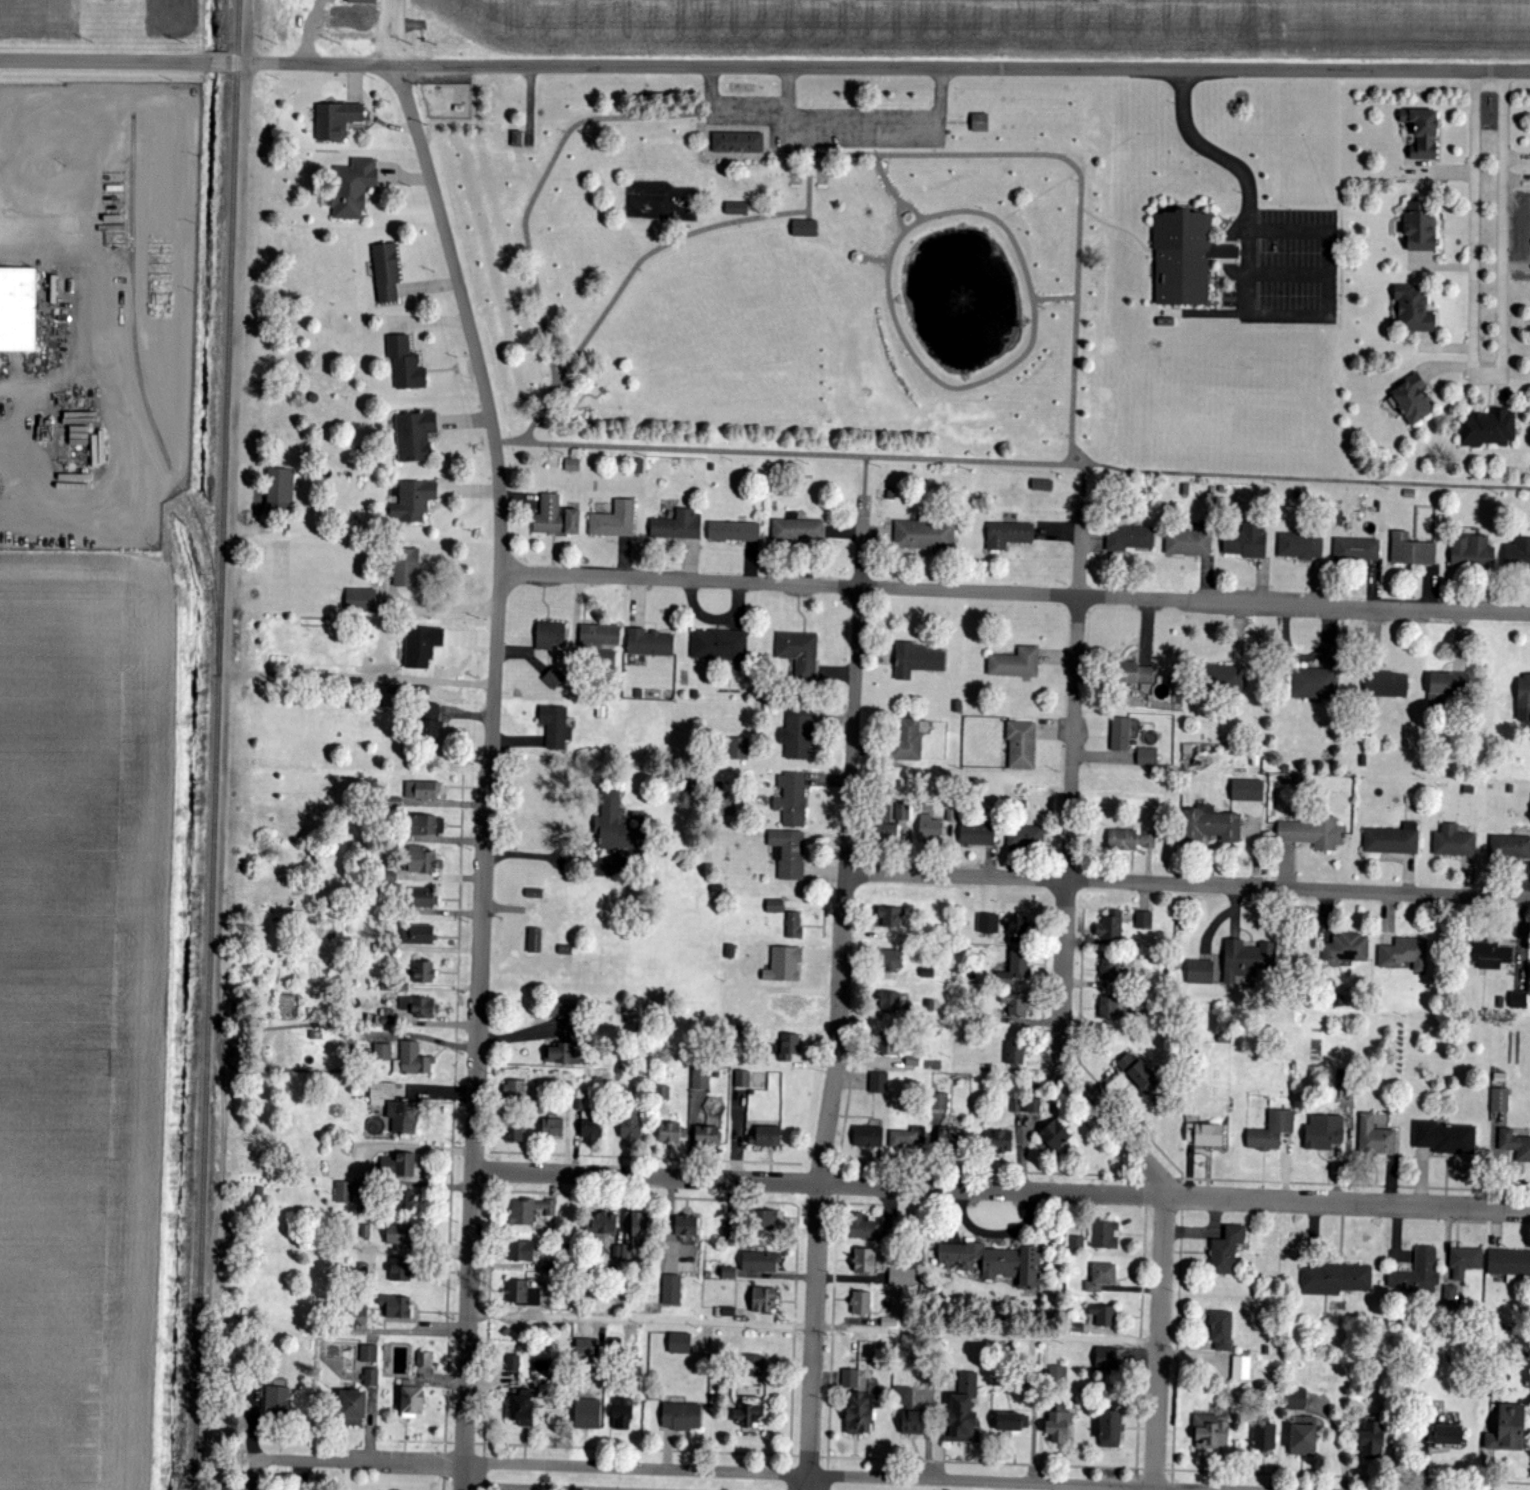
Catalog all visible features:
building: (362, 2)
railway: (278, 20)
crop: (874, 27)
crop: (1406, 29)
road: (394, 30)
road: (103, 57)
road: (219, 58)
road: (880, 65)
building: (336, 120)
building: (980, 123)
parking lot: (830, 125)
road: (836, 128)
building: (1422, 133)
building: (518, 139)
building: (737, 142)
road: (1048, 153)
building: (353, 188)
road: (540, 189)
road: (896, 196)
road: (911, 207)
building: (736, 208)
building: (804, 227)
building: (1420, 227)
road: (1118, 228)
road: (1313, 231)
building: (857, 257)
building: (1185, 257)
park: (784, 266)
parking lot: (1283, 266)
building: (386, 272)
road: (1289, 273)
building: (1414, 309)
building: (18, 310)
building: (1165, 322)
road: (594, 328)
road: (1073, 359)
building: (405, 365)
road: (1485, 371)
building: (1412, 400)
railway: (144, 401)
building: (1488, 429)
building: (414, 436)
road: (803, 452)
road: (1080, 453)
building: (572, 465)
road: (863, 474)
road: (1313, 476)
building: (1042, 485)
road: (1080, 486)
building: (280, 491)
building: (414, 501)
building: (556, 518)
road: (231, 520)
building: (615, 521)
building: (678, 526)
building: (798, 531)
building: (734, 532)
building: (925, 535)
building: (1008, 535)
building: (1130, 538)
building: (1246, 541)
building: (1188, 543)
building: (1300, 547)
building: (1356, 550)
building: (1411, 551)
building: (1472, 552)
building: (1518, 554)
building: (406, 569)
road: (1012, 592)
building: (361, 600)
building: (549, 635)
building: (600, 643)
building: (649, 643)
building: (422, 646)
building: (719, 646)
building: (799, 653)
building: (916, 660)
building: (1015, 664)
road: (248, 674)
road: (286, 676)
building: (1136, 676)
building: (1224, 678)
building: (554, 679)
road: (396, 680)
building: (1313, 684)
building: (1449, 684)
building: (1386, 685)
building: (1523, 699)
building: (430, 724)
building: (555, 727)
building: (1120, 734)
building: (797, 735)
building: (908, 739)
railway: (217, 744)
building: (1022, 745)
building: (738, 748)
building: (1147, 757)
road: (488, 769)
building: (422, 790)
building: (1248, 790)
building: (791, 799)
building: (394, 802)
building: (903, 811)
building: (886, 822)
building: (1216, 824)
building: (426, 825)
building: (615, 825)
building: (928, 829)
building: (1312, 832)
building: (977, 834)
building: (1025, 836)
building: (1392, 839)
building: (1132, 840)
building: (1453, 842)
building: (1511, 845)
building: (788, 854)
building: (421, 860)
road: (1065, 871)
building: (387, 877)
road: (1186, 885)
building: (424, 898)
building: (775, 906)
building: (890, 916)
building: (1143, 920)
building: (988, 924)
building: (794, 925)
building: (1110, 926)
building: (1018, 929)
building: (417, 934)
building: (534, 940)
building: (1346, 949)
building: (1405, 954)
building: (1490, 955)
building: (891, 959)
building: (1245, 960)
building: (784, 964)
building: (1014, 969)
building: (424, 971)
building: (1110, 971)
building: (1200, 972)
road: (839, 992)
building: (890, 1000)
building: (1518, 1000)
building: (1016, 1003)
building: (1108, 1006)
building: (419, 1007)
crop: (79, 1009)
building: (561, 1009)
building: (384, 1020)
building: (886, 1044)
building: (789, 1046)
building: (383, 1052)
building: (1015, 1053)
building: (562, 1054)
building: (412, 1060)
building: (1139, 1072)
building: (743, 1078)
building: (701, 1079)
building: (879, 1082)
building: (514, 1089)
building: (381, 1093)
building: (1499, 1100)
building: (940, 1101)
building: (1025, 1105)
building: (403, 1117)
road: (224, 1124)
building: (630, 1125)
building: (552, 1127)
building: (591, 1129)
building: (515, 1131)
building: (1272, 1131)
building: (669, 1132)
building: (1324, 1132)
building: (1204, 1134)
building: (706, 1135)
building: (1055, 1135)
building: (766, 1137)
building: (868, 1137)
building: (950, 1137)
building: (1375, 1137)
building: (1443, 1137)
building: (906, 1138)
building: (1000, 1141)
road: (453, 1143)
building: (1515, 1144)
building: (398, 1165)
road: (1000, 1189)
building: (345, 1192)
building: (405, 1199)
road: (791, 1204)
building: (529, 1211)
building: (766, 1220)
building: (604, 1223)
building: (863, 1226)
building: (640, 1228)
building: (686, 1228)
building: (399, 1234)
building: (1105, 1235)
building: (1077, 1242)
building: (1226, 1250)
building: (521, 1251)
building: (865, 1260)
building: (760, 1261)
building: (998, 1261)
building: (1465, 1262)
building: (400, 1269)
building: (729, 1273)
building: (1418, 1273)
building: (902, 1277)
building: (1101, 1277)
building: (1335, 1280)
building: (671, 1289)
building: (523, 1294)
building: (1450, 1294)
building: (763, 1299)
building: (861, 1303)
building: (397, 1306)
building: (1103, 1315)
road: (812, 1323)
building: (1221, 1330)
road: (1158, 1342)
building: (680, 1343)
building: (585, 1350)
building: (368, 1353)
building: (1106, 1358)
building: (424, 1360)
building: (513, 1363)
building: (542, 1365)
building: (753, 1365)
building: (1241, 1367)
building: (1058, 1374)
road: (206, 1376)
building: (371, 1377)
building: (850, 1378)
building: (1297, 1399)
building: (277, 1400)
building: (411, 1402)
building: (352, 1408)
building: (520, 1409)
building: (909, 1411)
building: (963, 1411)
building: (860, 1413)
building: (587, 1414)
building: (622, 1414)
building: (747, 1415)
building: (681, 1417)
building: (1013, 1421)
building: (1059, 1424)
building: (1110, 1429)
building: (1508, 1429)
building: (1211, 1432)
building: (1445, 1435)
building: (1304, 1436)
building: (1265, 1437)
building: (1373, 1439)
road: (449, 1443)
road: (463, 1444)
road: (445, 1447)
road: (485, 1450)
road: (332, 1460)
road: (445, 1464)
road: (485, 1472)
road: (821, 1474)
road: (444, 1483)
road: (486, 1489)

